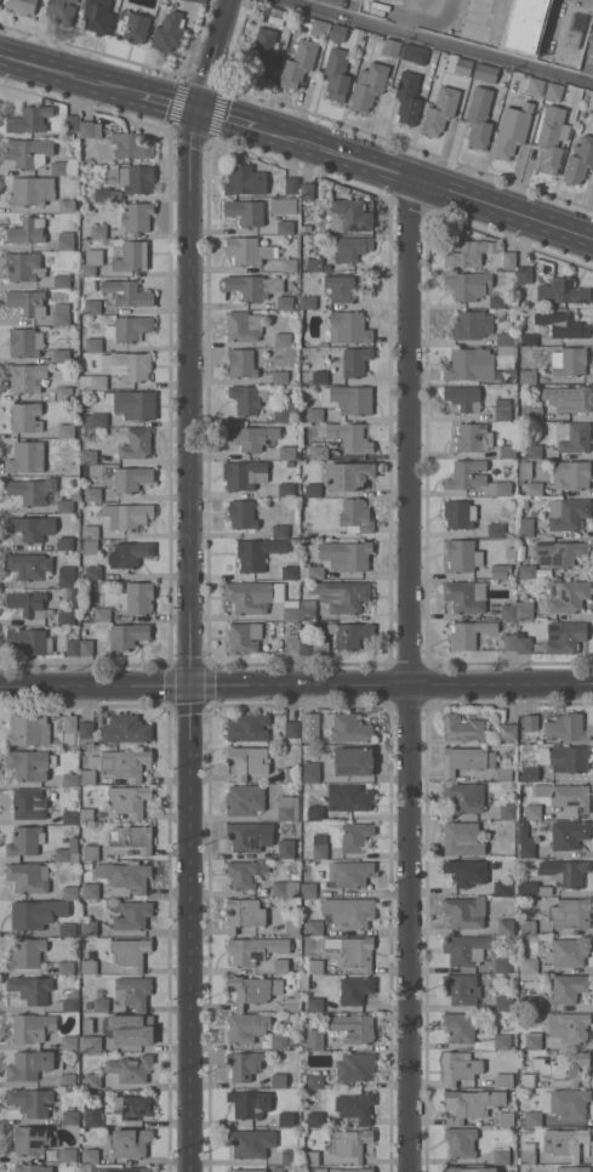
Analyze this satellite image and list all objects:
building: (75, 0)
building: (193, 0)
building: (201, 0)
building: (23, 5)
building: (418, 6)
building: (61, 10)
road: (454, 12)
building: (98, 15)
building: (276, 15)
road: (411, 15)
building: (481, 19)
road: (507, 21)
building: (132, 25)
building: (320, 27)
building: (531, 27)
road: (555, 28)
building: (170, 32)
building: (338, 32)
park: (572, 36)
road: (452, 39)
building: (390, 46)
building: (415, 52)
building: (588, 52)
building: (264, 53)
building: (298, 62)
building: (463, 66)
building: (486, 72)
building: (337, 73)
road: (70, 75)
building: (369, 85)
building: (535, 85)
building: (554, 90)
building: (409, 97)
road: (169, 102)
traffic signals: (198, 110)
building: (440, 110)
building: (479, 116)
building: (29, 118)
road: (228, 120)
building: (73, 121)
building: (91, 129)
building: (512, 135)
building: (551, 138)
building: (74, 141)
building: (131, 146)
building: (30, 150)
building: (580, 160)
building: (64, 166)
building: (131, 176)
building: (245, 180)
road: (426, 183)
building: (291, 184)
building: (33, 189)
building: (307, 190)
building: (107, 193)
building: (67, 205)
building: (284, 205)
building: (246, 211)
building: (350, 215)
building: (137, 216)
building: (285, 226)
building: (306, 227)
building: (27, 229)
building: (98, 231)
building: (65, 239)
building: (352, 248)
building: (249, 250)
building: (467, 254)
building: (131, 256)
building: (509, 258)
building: (91, 261)
building: (289, 263)
building: (314, 263)
building: (24, 266)
building: (508, 273)
building: (524, 273)
building: (62, 279)
building: (468, 284)
building: (253, 285)
building: (344, 285)
building: (563, 290)
building: (127, 292)
building: (497, 300)
building: (28, 301)
building: (285, 301)
building: (308, 301)
building: (92, 306)
building: (62, 313)
building: (473, 324)
building: (563, 324)
building: (243, 325)
building: (349, 326)
building: (130, 328)
building: (528, 337)
building: (283, 338)
building: (507, 338)
building: (25, 342)
building: (93, 343)
building: (508, 349)
building: (61, 354)
building: (357, 360)
building: (570, 360)
building: (241, 362)
building: (475, 363)
building: (127, 365)
building: (528, 375)
building: (27, 376)
building: (280, 376)
building: (320, 376)
building: (93, 381)
building: (64, 392)
building: (246, 397)
building: (463, 397)
building: (350, 398)
building: (574, 398)
building: (133, 403)
building: (502, 409)
building: (534, 409)
building: (315, 413)
building: (281, 414)
building: (27, 416)
building: (95, 419)
building: (67, 429)
building: (346, 434)
building: (251, 436)
building: (572, 436)
building: (473, 437)
building: (136, 443)
building: (507, 450)
building: (534, 450)
building: (287, 451)
building: (319, 451)
building: (27, 456)
building: (89, 456)
building: (89, 470)
building: (525, 470)
building: (244, 473)
building: (289, 474)
building: (348, 474)
building: (571, 474)
building: (132, 477)
building: (475, 477)
building: (535, 488)
building: (286, 489)
building: (313, 489)
building: (34, 490)
building: (91, 494)
building: (65, 505)
building: (568, 512)
building: (243, 513)
building: (460, 513)
building: (126, 514)
building: (357, 514)
building: (32, 527)
building: (525, 527)
building: (496, 529)
building: (91, 530)
building: (280, 530)
building: (65, 542)
building: (90, 545)
building: (563, 551)
building: (131, 552)
building: (258, 552)
building: (523, 552)
building: (347, 554)
building: (462, 554)
building: (30, 565)
building: (501, 570)
building: (528, 570)
building: (91, 571)
building: (290, 571)
building: (312, 571)
building: (67, 575)
road: (190, 582)
building: (250, 594)
building: (342, 594)
building: (466, 594)
building: (568, 594)
building: (75, 597)
building: (137, 597)
building: (29, 603)
building: (308, 609)
building: (509, 609)
building: (525, 609)
building: (291, 611)
building: (103, 613)
building: (65, 616)
building: (468, 632)
building: (129, 633)
building: (350, 633)
building: (244, 636)
building: (566, 637)
building: (27, 641)
building: (511, 641)
building: (524, 643)
building: (87, 645)
building: (292, 645)
building: (314, 645)
building: (73, 647)
road: (411, 675)
road: (296, 684)
traffic signals: (192, 685)
building: (531, 721)
building: (310, 724)
building: (70, 726)
building: (249, 727)
building: (347, 727)
building: (463, 727)
building: (566, 727)
building: (28, 728)
building: (125, 728)
building: (292, 728)
building: (508, 730)
building: (86, 732)
building: (566, 757)
building: (467, 758)
building: (247, 759)
building: (354, 759)
building: (30, 762)
building: (122, 762)
building: (310, 770)
building: (291, 773)
building: (504, 773)
building: (530, 773)
building: (89, 775)
building: (70, 779)
building: (541, 790)
building: (571, 795)
building: (349, 796)
building: (466, 796)
building: (130, 798)
building: (245, 798)
building: (32, 802)
building: (287, 807)
building: (315, 809)
building: (507, 810)
building: (532, 810)
building: (87, 814)
building: (70, 817)
building: (568, 834)
building: (250, 835)
building: (355, 835)
building: (132, 837)
building: (463, 837)
building: (25, 840)
building: (525, 840)
building: (320, 846)
building: (286, 848)
building: (68, 850)
building: (90, 850)
building: (466, 871)
building: (565, 871)
building: (245, 872)
building: (349, 872)
building: (126, 874)
building: (28, 876)
building: (502, 887)
building: (530, 887)
building: (286, 888)
building: (90, 889)
building: (309, 889)
building: (70, 891)
building: (349, 911)
building: (466, 911)
building: (36, 912)
building: (244, 912)
building: (570, 912)
building: (132, 915)
building: (292, 926)
building: (507, 926)
building: (528, 926)
building: (90, 927)
building: (314, 927)
building: (67, 928)
building: (255, 949)
building: (467, 949)
building: (354, 950)
building: (568, 950)
building: (131, 951)
building: (25, 952)
building: (89, 962)
building: (503, 965)
building: (530, 965)
building: (65, 966)
building: (281, 966)
building: (315, 966)
building: (569, 986)
building: (32, 988)
building: (462, 988)
building: (253, 989)
building: (355, 989)
building: (133, 990)
building: (99, 992)
building: (70, 1000)
building: (293, 1002)
building: (503, 1002)
building: (526, 1002)
building: (101, 1003)
building: (315, 1003)
building: (89, 1005)
building: (87, 1025)
building: (247, 1025)
building: (569, 1025)
building: (33, 1026)
building: (460, 1026)
building: (133, 1028)
building: (358, 1028)
building: (315, 1039)
building: (69, 1041)
building: (502, 1041)
building: (534, 1041)
building: (91, 1042)
building: (279, 1042)
building: (33, 1064)
building: (244, 1064)
building: (563, 1065)
building: (355, 1066)
building: (460, 1066)
building: (131, 1068)
building: (68, 1079)
building: (315, 1079)
building: (503, 1079)
building: (91, 1080)
building: (279, 1080)
building: (528, 1080)
building: (33, 1100)
building: (472, 1102)
building: (566, 1102)
building: (250, 1103)
building: (355, 1105)
building: (135, 1106)
building: (92, 1114)
building: (70, 1116)
building: (506, 1117)
building: (534, 1117)
building: (286, 1119)
building: (315, 1119)
building: (32, 1139)
building: (461, 1140)
building: (131, 1142)
building: (251, 1142)
building: (566, 1142)
building: (353, 1143)
building: (68, 1154)
building: (528, 1155)
building: (91, 1156)
building: (289, 1156)
building: (312, 1156)
building: (501, 1156)
building: (32, 1167)
building: (281, 1167)
building: (461, 1168)
building: (572, 1168)
building: (136, 1170)
building: (244, 1170)
building: (344, 1170)

